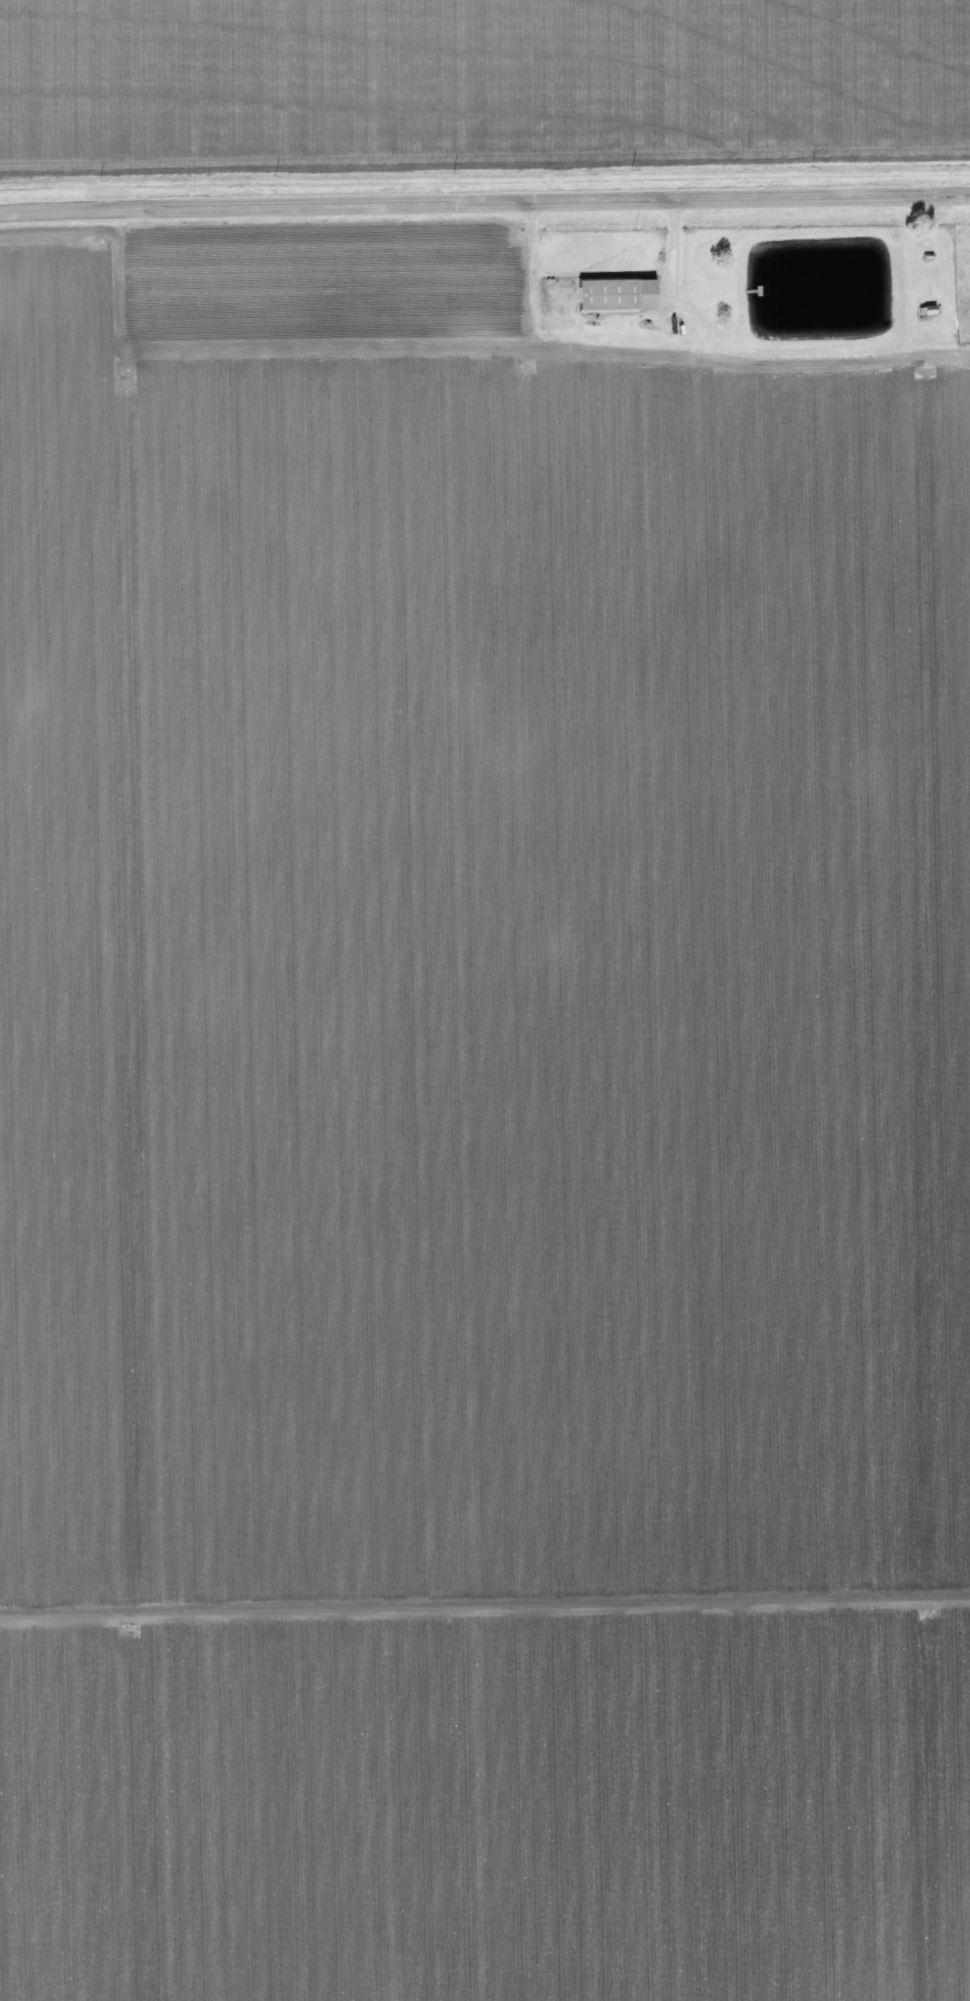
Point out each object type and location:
road: (485, 207)
building: (606, 295)

